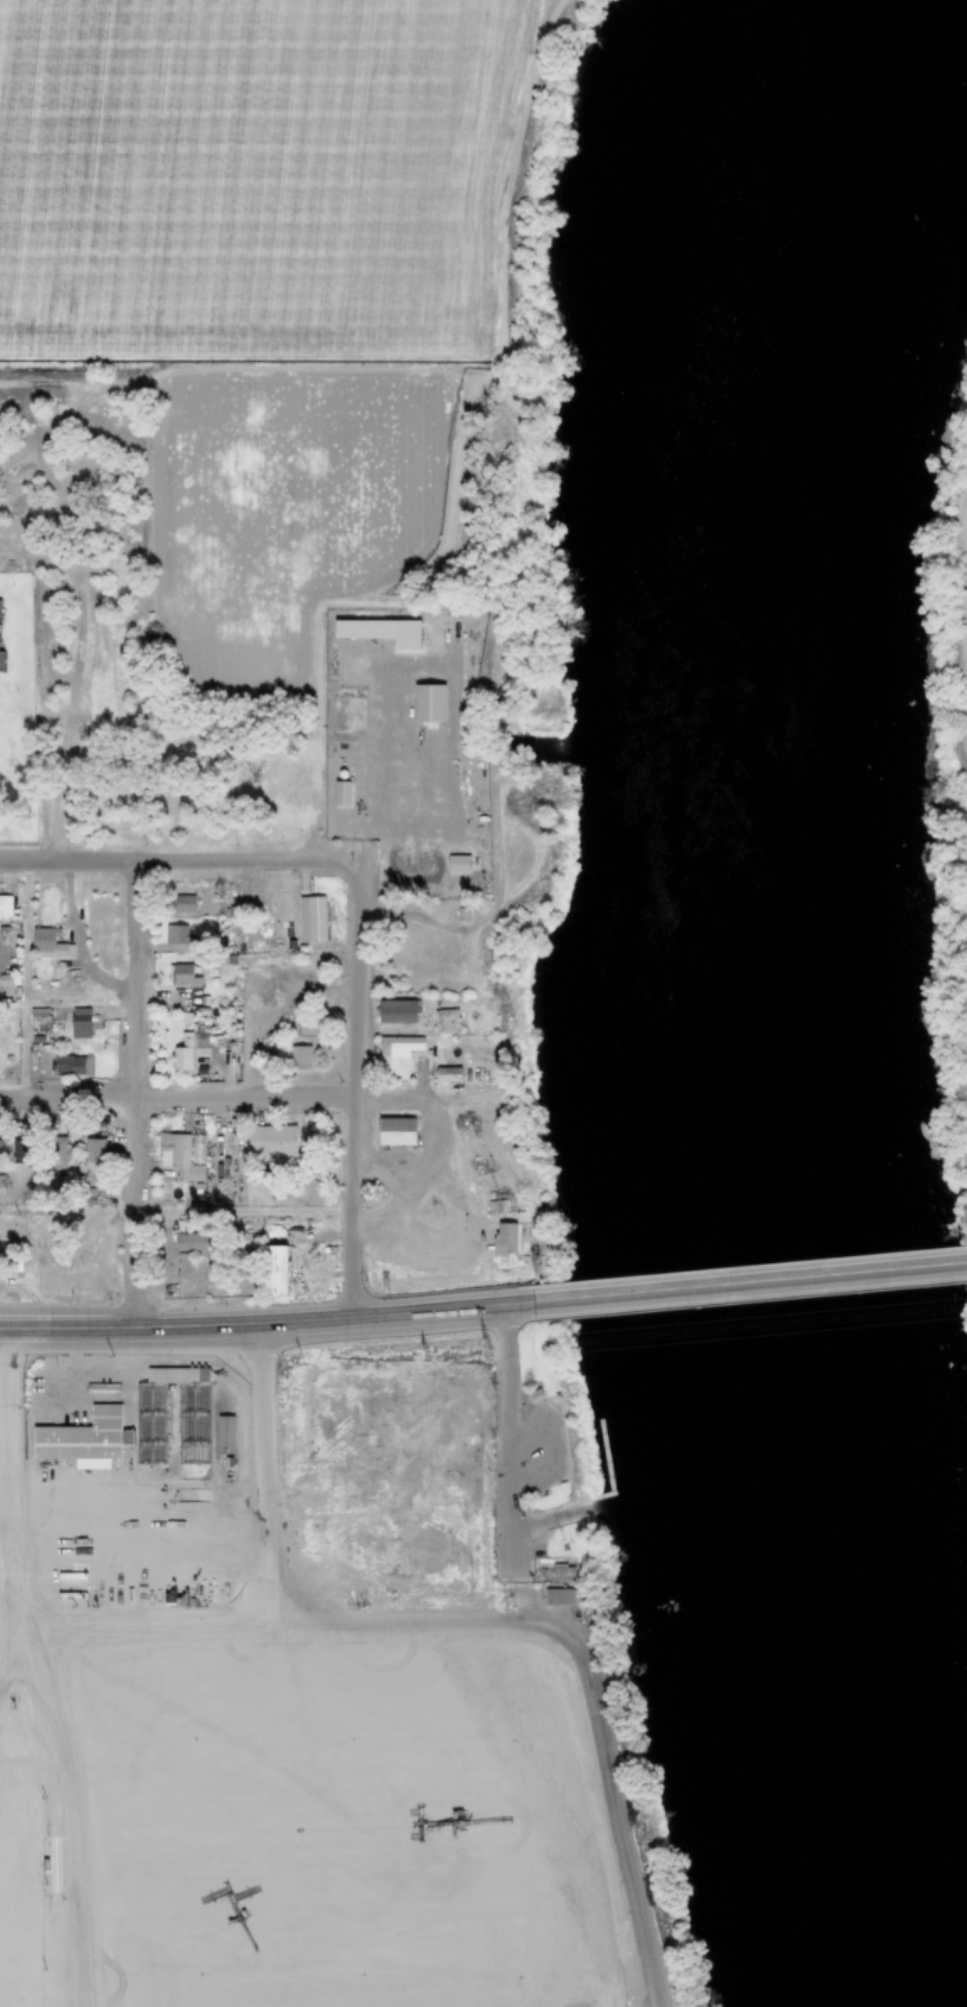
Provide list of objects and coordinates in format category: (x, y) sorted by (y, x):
crop: (251, 172)
road: (454, 475)
crop: (282, 513)
road: (35, 554)
building: (112, 579)
building: (0, 610)
building: (1, 660)
building: (426, 702)
road: (423, 759)
road: (329, 766)
building: (339, 793)
road: (451, 828)
road: (176, 861)
building: (455, 863)
building: (182, 905)
building: (4, 906)
building: (460, 915)
building: (309, 918)
building: (288, 921)
building: (3, 930)
building: (173, 939)
building: (47, 944)
building: (288, 944)
building: (299, 949)
building: (227, 960)
building: (34, 961)
building: (180, 974)
road: (23, 980)
building: (5, 981)
river: (751, 991)
building: (12, 996)
building: (193, 1001)
building: (206, 1001)
building: (208, 1011)
building: (394, 1012)
building: (38, 1014)
building: (443, 1021)
building: (78, 1029)
building: (34, 1039)
building: (396, 1045)
building: (179, 1056)
building: (454, 1056)
building: (296, 1057)
building: (30, 1061)
building: (70, 1066)
building: (445, 1075)
road: (128, 1095)
road: (352, 1097)
road: (233, 1099)
building: (393, 1132)
building: (270, 1143)
building: (92, 1149)
building: (11, 1151)
building: (22, 1151)
building: (1, 1153)
building: (58, 1154)
building: (175, 1156)
building: (78, 1179)
building: (0, 1182)
road: (426, 1187)
building: (86, 1196)
building: (494, 1207)
road: (174, 1210)
building: (502, 1240)
building: (189, 1243)
building: (515, 1263)
building: (292, 1265)
building: (15, 1266)
building: (272, 1271)
road: (864, 1272)
building: (8, 1286)
road: (646, 1291)
road: (265, 1324)
building: (177, 1374)
building: (103, 1387)
parking lot: (58, 1392)
building: (531, 1394)
road: (55, 1397)
building: (290, 1397)
road: (108, 1398)
building: (223, 1406)
road: (129, 1413)
building: (150, 1423)
building: (193, 1423)
building: (225, 1430)
road: (553, 1435)
building: (84, 1437)
road: (129, 1437)
road: (531, 1440)
road: (504, 1441)
road: (510, 1442)
road: (263, 1445)
parking lot: (538, 1448)
road: (532, 1449)
building: (602, 1455)
road: (171, 1456)
road: (532, 1457)
building: (228, 1461)
road: (533, 1465)
road: (129, 1466)
road: (533, 1472)
road: (101, 1487)
park: (543, 1498)
road: (549, 1518)
road: (518, 1536)
road: (5, 1541)
park: (564, 1541)
road: (135, 1556)
building: (561, 1573)
road: (3, 1578)
building: (160, 1578)
road: (3, 1592)
building: (556, 1596)
building: (342, 1597)
road: (583, 1658)
road: (54, 1704)
road: (33, 1899)

